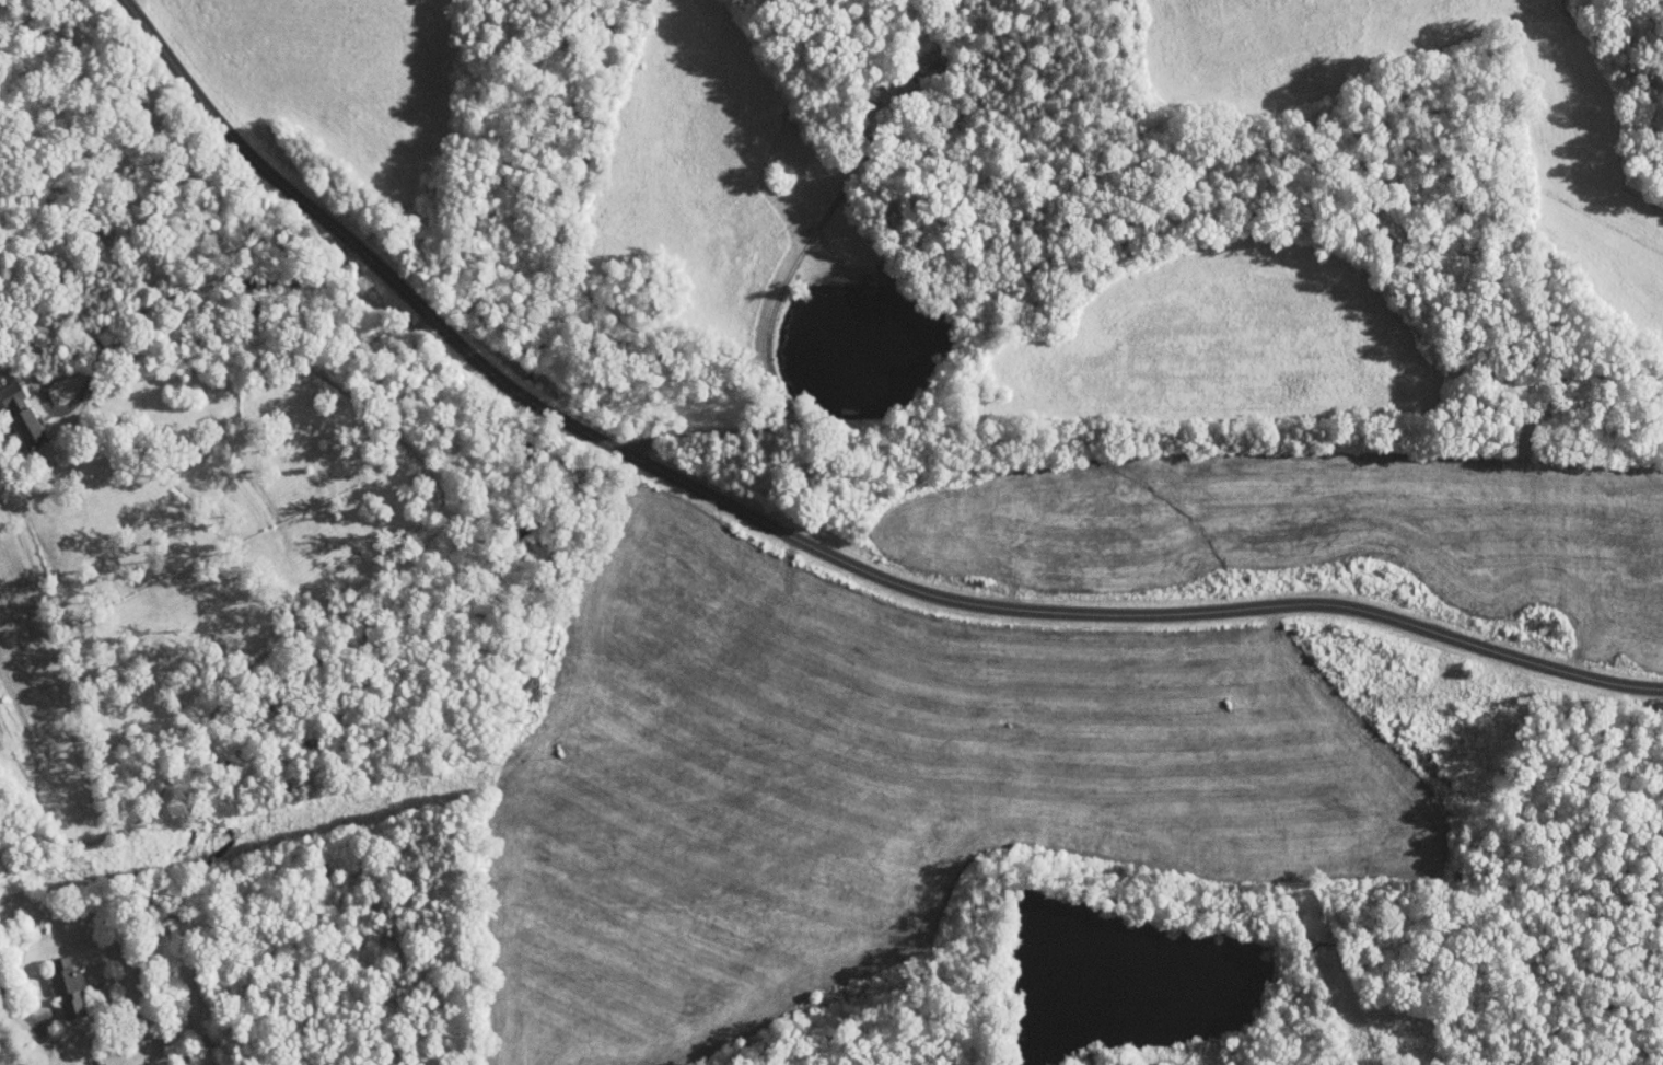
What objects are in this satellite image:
building: (909, 37)
road: (777, 296)
road: (146, 309)
road: (8, 389)
building: (13, 412)
road: (818, 551)
building: (56, 980)
road: (46, 1011)
building: (102, 1054)

